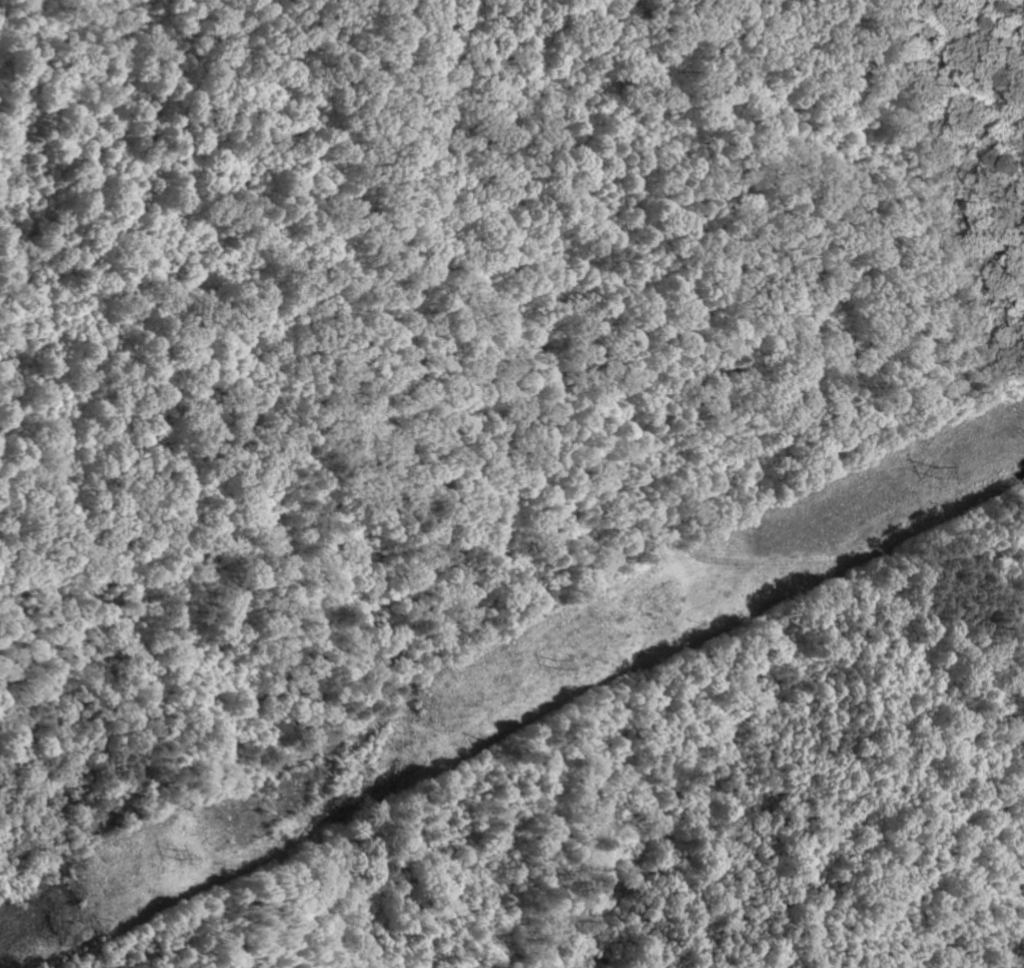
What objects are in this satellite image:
power tower: (936, 480)
power tower: (551, 663)
power tower: (169, 852)

